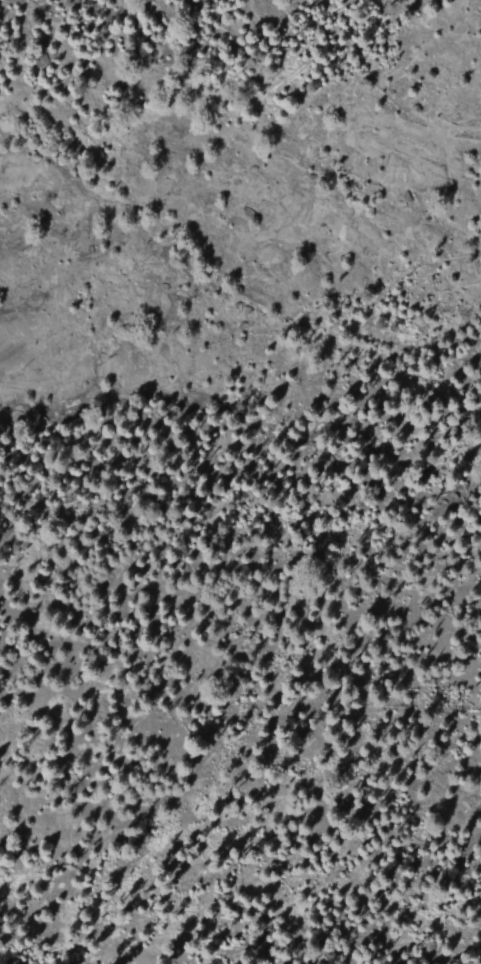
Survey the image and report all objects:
road: (160, 962)

